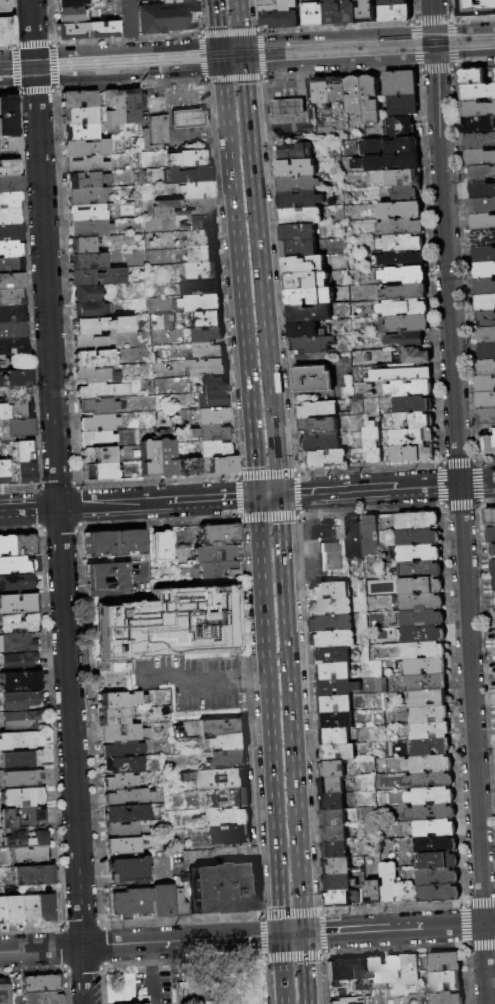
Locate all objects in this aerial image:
building: (176, 1)
building: (392, 2)
building: (69, 3)
building: (3, 4)
building: (275, 5)
building: (474, 8)
building: (364, 11)
building: (312, 12)
building: (338, 12)
building: (390, 12)
building: (70, 14)
road: (431, 15)
building: (165, 17)
road: (474, 18)
building: (124, 19)
building: (278, 19)
road: (435, 20)
road: (238, 21)
road: (215, 22)
road: (339, 26)
road: (32, 27)
building: (101, 27)
road: (463, 27)
building: (5, 29)
building: (70, 30)
traffic signals: (433, 30)
road: (230, 31)
road: (336, 35)
road: (433, 36)
road: (127, 37)
railway: (381, 37)
road: (400, 37)
road: (34, 41)
road: (464, 42)
road: (7, 43)
traffic signals: (240, 43)
road: (456, 43)
road: (228, 44)
traffic signals: (217, 45)
road: (263, 45)
railway: (356, 45)
road: (419, 45)
railway: (264, 46)
road: (240, 48)
road: (337, 49)
road: (136, 50)
road: (218, 50)
road: (434, 50)
railway: (357, 52)
road: (262, 54)
road: (16, 55)
road: (45, 55)
road: (230, 55)
traffic signals: (241, 55)
road: (464, 55)
traffic signals: (219, 56)
road: (203, 57)
traffic signals: (435, 57)
railway: (109, 59)
road: (241, 61)
road: (109, 62)
road: (220, 62)
road: (338, 62)
road: (56, 64)
road: (476, 65)
railway: (109, 66)
railway: (168, 66)
railway: (177, 66)
road: (16, 67)
road: (34, 67)
road: (191, 67)
road: (438, 67)
traffic signals: (242, 68)
road: (231, 69)
traffic signals: (221, 70)
road: (64, 73)
road: (342, 73)
road: (139, 75)
building: (472, 76)
road: (46, 79)
road: (234, 79)
road: (17, 80)
building: (400, 83)
road: (132, 85)
road: (37, 89)
building: (338, 90)
building: (321, 91)
road: (9, 92)
building: (477, 93)
building: (355, 96)
building: (79, 99)
building: (370, 100)
building: (403, 105)
building: (128, 106)
building: (287, 106)
gas station: (287, 106)
building: (113, 107)
building: (477, 109)
building: (80, 115)
building: (186, 118)
gas station: (186, 118)
building: (8, 123)
building: (479, 125)
building: (157, 129)
building: (81, 132)
road: (199, 136)
building: (296, 139)
building: (393, 140)
building: (480, 141)
building: (86, 148)
building: (296, 152)
building: (480, 158)
building: (188, 159)
building: (386, 163)
building: (86, 165)
building: (9, 168)
building: (296, 169)
building: (482, 174)
building: (190, 175)
building: (119, 177)
building: (403, 178)
building: (83, 181)
building: (11, 184)
building: (298, 184)
building: (196, 190)
building: (483, 190)
building: (407, 194)
building: (87, 196)
building: (299, 200)
building: (9, 201)
building: (483, 206)
building: (164, 208)
building: (401, 210)
building: (88, 213)
building: (300, 216)
building: (10, 217)
building: (202, 222)
building: (483, 222)
building: (401, 227)
building: (90, 228)
building: (11, 232)
building: (298, 233)
building: (318, 238)
building: (484, 238)
building: (203, 239)
building: (401, 243)
building: (82, 245)
building: (300, 248)
building: (12, 249)
building: (485, 254)
building: (204, 255)
building: (402, 260)
building: (88, 261)
building: (11, 264)
building: (305, 265)
building: (204, 271)
building: (485, 271)
building: (406, 275)
building: (97, 277)
building: (11, 281)
road: (260, 281)
building: (307, 281)
road: (238, 282)
building: (486, 287)
building: (201, 288)
building: (406, 292)
building: (85, 294)
building: (310, 297)
building: (12, 298)
building: (203, 303)
building: (486, 304)
building: (404, 308)
building: (89, 310)
building: (310, 313)
building: (12, 314)
building: (210, 320)
building: (486, 320)
building: (159, 321)
building: (404, 324)
building: (102, 325)
building: (13, 330)
building: (305, 331)
building: (208, 335)
building: (487, 336)
building: (406, 340)
building: (91, 342)
building: (313, 345)
building: (13, 346)
building: (210, 352)
building: (487, 352)
building: (416, 357)
building: (95, 359)
building: (206, 368)
building: (487, 368)
building: (97, 375)
building: (402, 375)
building: (17, 378)
building: (313, 380)
building: (213, 384)
building: (486, 385)
building: (411, 389)
building: (103, 390)
building: (17, 394)
building: (212, 400)
building: (486, 401)
building: (413, 405)
building: (98, 406)
building: (16, 410)
building: (316, 410)
building: (212, 416)
building: (487, 416)
building: (414, 422)
building: (99, 423)
building: (20, 427)
building: (317, 427)
building: (211, 433)
building: (412, 437)
building: (98, 439)
building: (373, 442)
building: (320, 443)
building: (489, 445)
building: (214, 449)
building: (24, 452)
building: (413, 454)
building: (100, 455)
building: (165, 455)
building: (150, 459)
building: (325, 459)
road: (457, 462)
road: (475, 462)
road: (438, 463)
building: (223, 465)
building: (188, 467)
building: (4, 471)
building: (100, 472)
building: (25, 473)
road: (57, 483)
road: (76, 483)
road: (476, 483)
road: (478, 483)
road: (38, 485)
road: (438, 485)
road: (367, 489)
road: (267, 495)
traffic signals: (278, 495)
traffic signals: (256, 496)
road: (128, 503)
road: (78, 504)
road: (478, 504)
road: (441, 505)
road: (459, 505)
road: (39, 507)
road: (58, 512)
building: (489, 517)
building: (416, 521)
road: (78, 526)
road: (40, 528)
road: (59, 530)
road: (460, 530)
building: (216, 533)
building: (337, 533)
building: (491, 536)
building: (369, 537)
building: (417, 537)
building: (353, 538)
building: (125, 540)
building: (96, 542)
building: (24, 544)
building: (6, 545)
building: (157, 545)
building: (492, 551)
building: (214, 553)
building: (418, 554)
building: (329, 557)
building: (17, 565)
building: (215, 568)
building: (493, 568)
building: (419, 570)
building: (90, 578)
building: (494, 582)
building: (16, 584)
building: (420, 586)
building: (328, 591)
building: (421, 602)
building: (18, 604)
building: (329, 607)
building: (422, 618)
building: (168, 622)
building: (19, 624)
building: (330, 624)
building: (422, 634)
building: (332, 640)
building: (18, 643)
building: (423, 650)
building: (332, 656)
building: (19, 662)
building: (424, 666)
building: (333, 672)
parking lot: (189, 679)
building: (20, 682)
road: (252, 682)
building: (423, 682)
road: (185, 684)
building: (336, 687)
building: (110, 699)
building: (426, 699)
building: (22, 700)
building: (334, 704)
road: (290, 713)
road: (267, 715)
building: (429, 715)
building: (111, 716)
building: (21, 720)
building: (335, 721)
building: (219, 726)
building: (429, 731)
building: (120, 732)
building: (337, 737)
building: (21, 740)
building: (225, 741)
building: (119, 748)
building: (431, 748)
building: (337, 753)
building: (227, 758)
building: (22, 759)
building: (121, 763)
building: (428, 764)
building: (332, 769)
building: (23, 778)
building: (221, 778)
building: (117, 780)
building: (429, 780)
building: (331, 785)
building: (125, 796)
building: (430, 796)
building: (24, 797)
building: (222, 797)
building: (332, 801)
building: (151, 805)
building: (123, 812)
building: (431, 813)
building: (225, 816)
building: (22, 817)
building: (332, 818)
building: (434, 828)
building: (120, 829)
building: (230, 834)
building: (334, 834)
building: (25, 839)
building: (120, 845)
building: (435, 845)
building: (334, 850)
building: (30, 854)
building: (436, 861)
building: (336, 866)
building: (126, 869)
building: (34, 875)
building: (437, 877)
building: (339, 883)
building: (388, 883)
building: (223, 887)
building: (373, 892)
building: (438, 894)
building: (338, 899)
building: (140, 900)
building: (177, 902)
building: (47, 907)
building: (30, 908)
building: (3, 909)
building: (14, 909)
road: (398, 928)
road: (290, 933)
traffic signals: (301, 933)
traffic signals: (280, 934)
road: (139, 941)
road: (149, 952)
building: (445, 963)
road: (303, 968)
road: (281, 969)
building: (410, 969)
building: (339, 970)
road: (219, 971)
building: (360, 973)
road: (83, 974)
building: (379, 974)
building: (395, 977)
road: (151, 982)
building: (446, 982)
building: (40, 983)
parking lot: (151, 987)
building: (5, 993)
building: (42, 997)
building: (443, 998)
building: (347, 1001)

